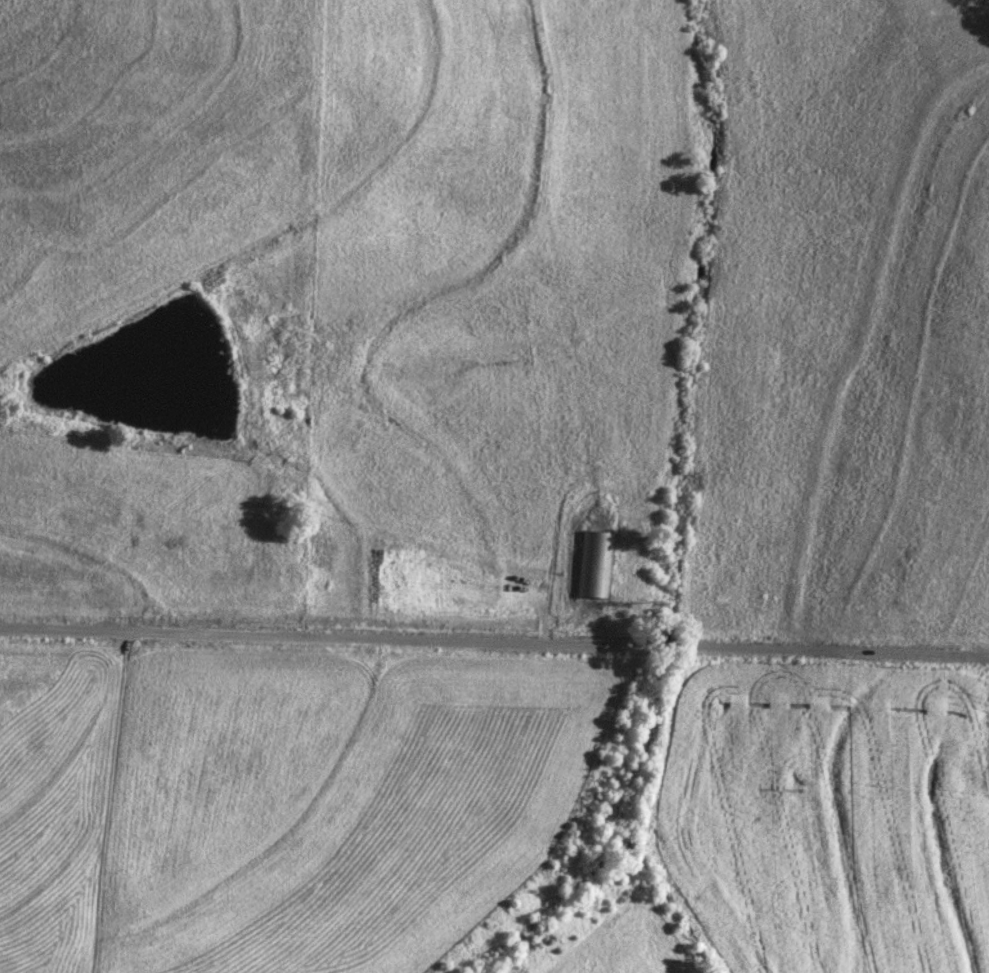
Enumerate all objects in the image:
building: (594, 565)
road: (494, 643)
road: (102, 800)

